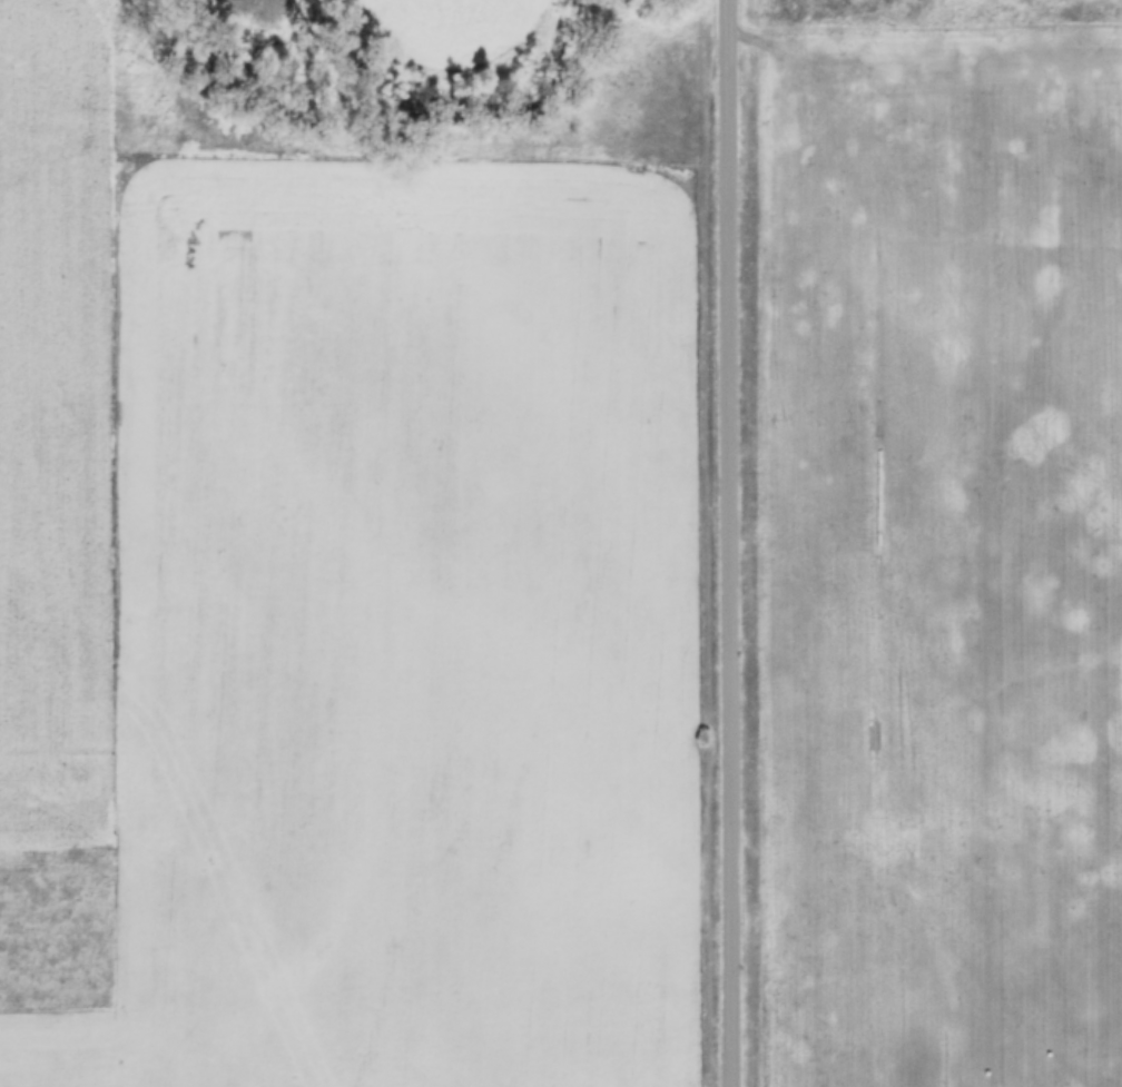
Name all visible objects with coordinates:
road: (734, 543)

